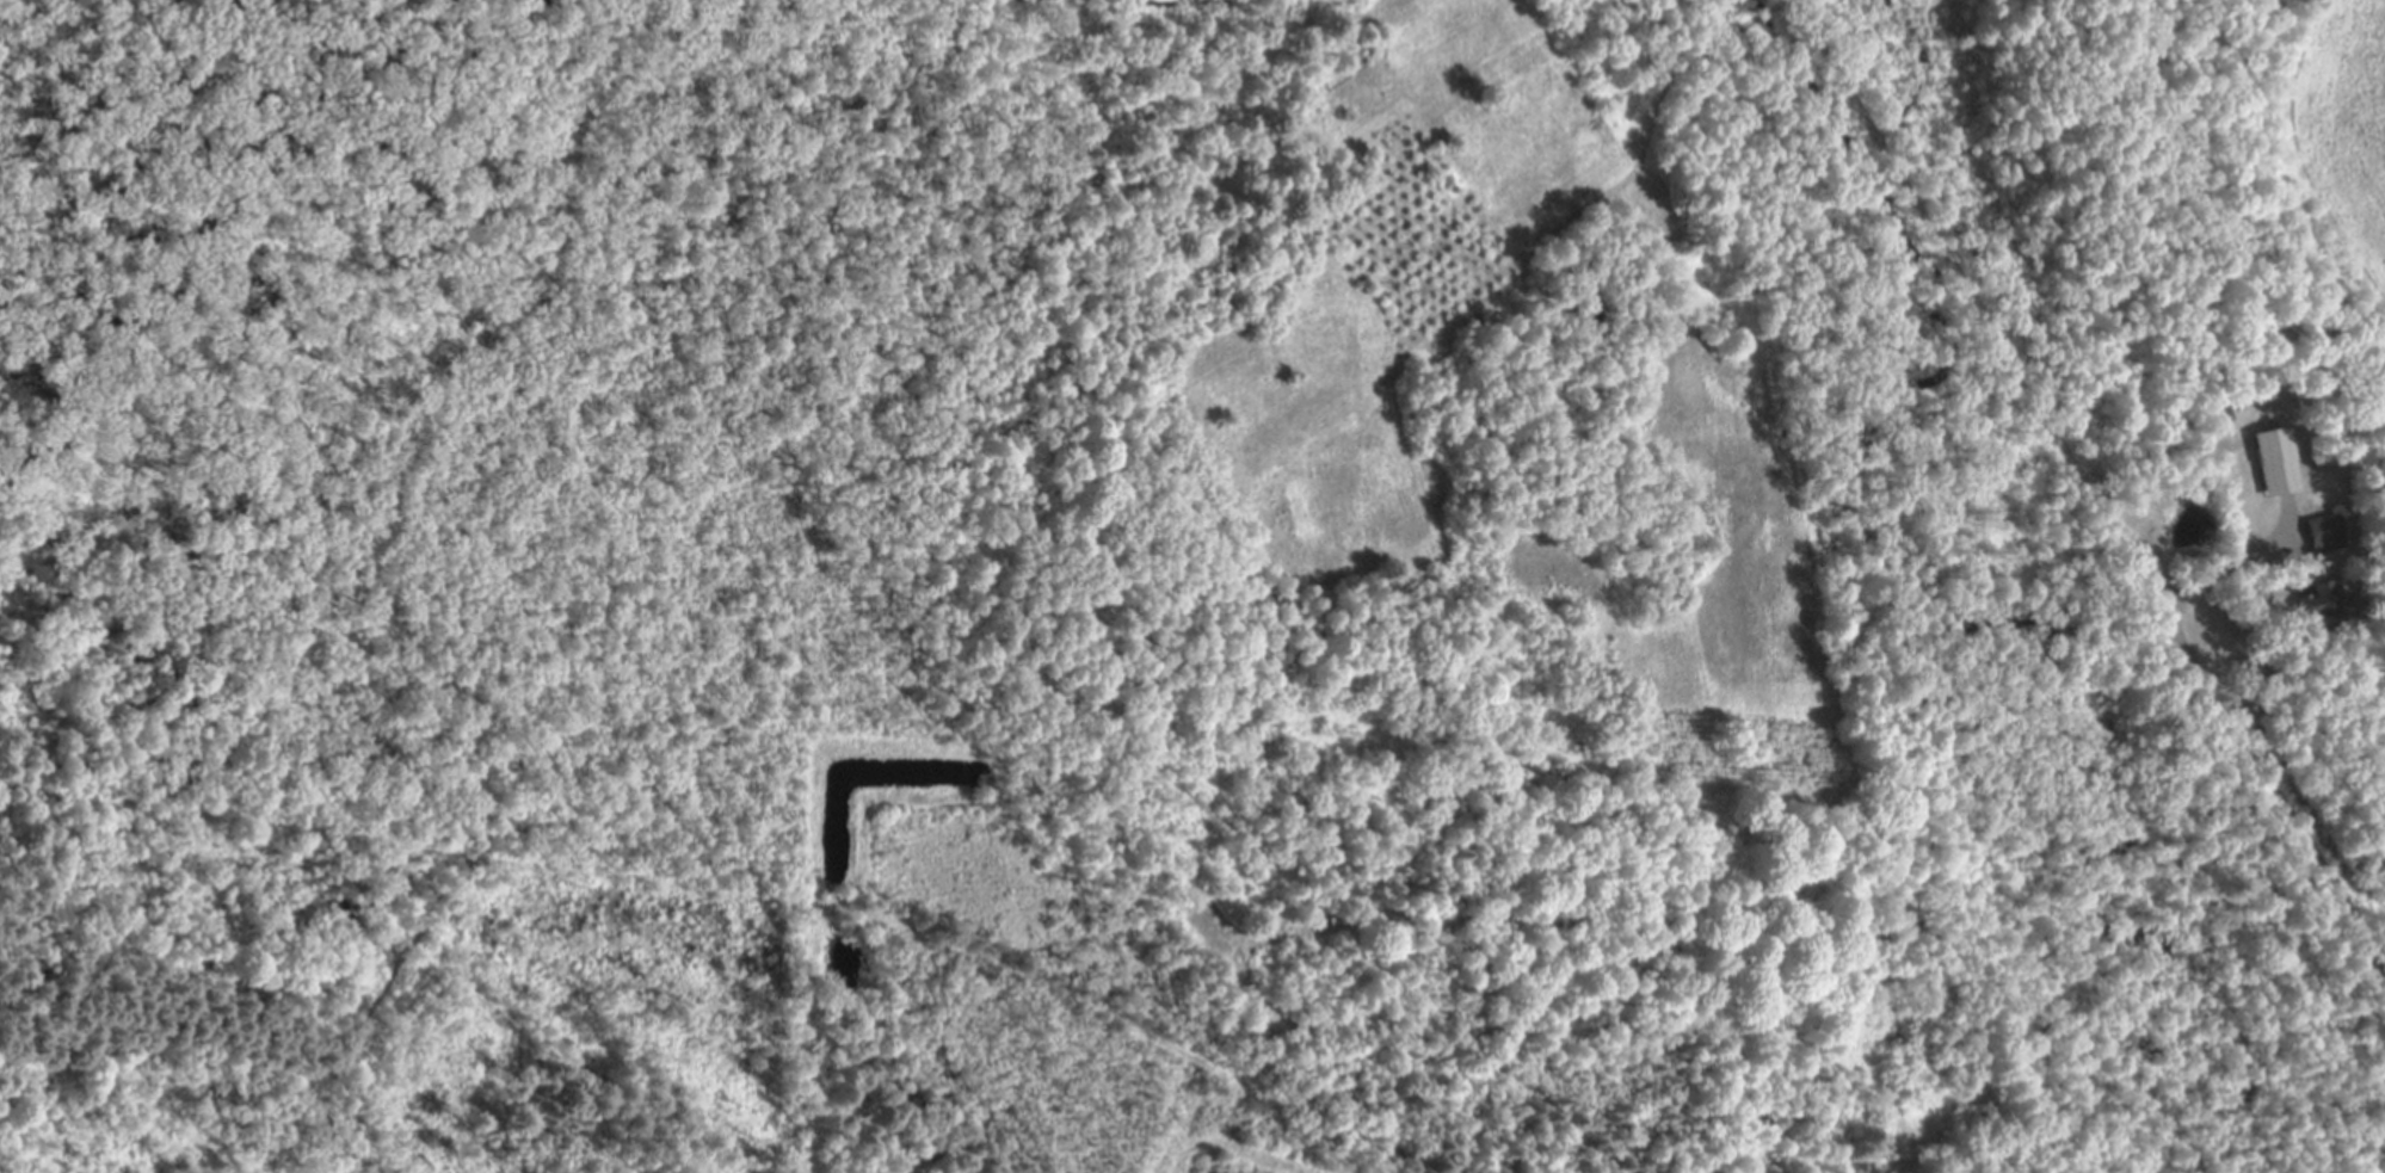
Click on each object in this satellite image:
road: (2285, 810)

